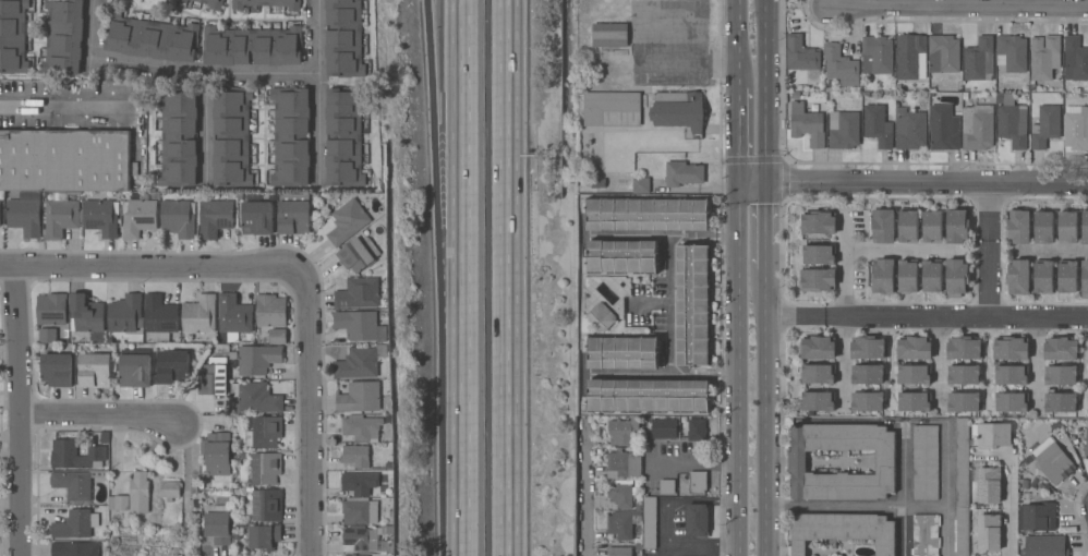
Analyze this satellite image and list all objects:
building: (182, 1)
building: (210, 2)
building: (268, 3)
road: (763, 7)
road: (962, 8)
building: (609, 34)
building: (13, 36)
building: (63, 37)
building: (152, 38)
building: (343, 38)
road: (737, 44)
building: (252, 46)
building: (944, 53)
building: (1012, 53)
building: (877, 55)
building: (802, 57)
building: (911, 57)
building: (1044, 57)
building: (979, 59)
building: (1075, 59)
road: (689, 60)
road: (89, 65)
building: (841, 65)
road: (174, 69)
road: (764, 88)
road: (317, 93)
building: (795, 95)
building: (1000, 98)
road: (58, 108)
building: (612, 109)
building: (677, 110)
building: (807, 124)
building: (1013, 124)
building: (878, 125)
building: (977, 126)
building: (1045, 126)
building: (943, 128)
building: (1076, 128)
road: (205, 129)
building: (910, 129)
building: (844, 130)
road: (738, 132)
building: (231, 136)
building: (291, 136)
building: (178, 137)
building: (343, 137)
road: (439, 157)
road: (458, 157)
building: (64, 160)
building: (684, 173)
road: (912, 178)
building: (591, 184)
building: (641, 185)
road: (986, 209)
building: (25, 214)
building: (293, 214)
building: (648, 214)
building: (61, 217)
building: (137, 217)
building: (179, 217)
building: (215, 217)
building: (100, 218)
building: (257, 218)
building: (348, 221)
building: (819, 222)
road: (764, 223)
building: (1018, 225)
building: (883, 226)
building: (907, 226)
building: (957, 226)
building: (1043, 226)
building: (1085, 226)
building: (932, 227)
building: (1067, 227)
road: (725, 239)
road: (903, 250)
road: (1050, 252)
building: (358, 254)
building: (819, 254)
building: (621, 256)
road: (156, 267)
building: (931, 275)
building: (882, 276)
building: (907, 276)
building: (1018, 276)
building: (1043, 276)
building: (1067, 276)
road: (508, 278)
building: (957, 278)
road: (984, 278)
building: (1085, 278)
building: (817, 279)
building: (358, 293)
building: (693, 304)
road: (670, 305)
building: (51, 309)
building: (270, 310)
road: (843, 312)
building: (86, 313)
building: (124, 313)
building: (200, 314)
building: (233, 314)
building: (601, 316)
building: (159, 317)
road: (955, 317)
road: (794, 318)
building: (359, 325)
building: (48, 335)
building: (277, 336)
building: (818, 347)
building: (869, 347)
building: (914, 348)
building: (964, 348)
building: (1010, 348)
building: (1061, 348)
building: (622, 352)
building: (257, 359)
building: (360, 362)
road: (1036, 364)
road: (738, 365)
road: (939, 365)
building: (172, 366)
building: (135, 367)
building: (57, 368)
building: (96, 370)
road: (725, 374)
building: (818, 374)
building: (868, 374)
building: (914, 374)
building: (963, 374)
building: (1011, 374)
building: (1061, 374)
building: (213, 376)
building: (648, 396)
building: (256, 397)
building: (359, 397)
building: (818, 400)
building: (867, 401)
building: (914, 401)
building: (964, 401)
building: (1012, 401)
building: (1061, 402)
road: (21, 411)
road: (312, 412)
road: (765, 413)
road: (100, 415)
building: (362, 427)
building: (662, 427)
building: (621, 430)
building: (696, 430)
building: (264, 432)
road: (458, 435)
building: (991, 435)
building: (1086, 445)
building: (663, 447)
building: (216, 454)
building: (75, 455)
building: (355, 456)
building: (1055, 458)
building: (884, 461)
road: (703, 462)
building: (924, 462)
building: (622, 463)
building: (266, 468)
building: (697, 482)
building: (73, 484)
building: (359, 484)
building: (989, 485)
building: (962, 486)
building: (169, 489)
road: (588, 489)
road: (902, 492)
building: (138, 493)
building: (619, 493)
building: (119, 503)
road: (667, 504)
building: (267, 505)
road: (856, 507)
building: (360, 511)
road: (1007, 511)
building: (1035, 511)
building: (698, 519)
building: (649, 521)
building: (622, 523)
building: (75, 524)
building: (217, 524)
building: (842, 530)
building: (989, 532)
building: (924, 534)
building: (264, 535)
building: (360, 539)
building: (1042, 545)
road: (703, 547)
building: (74, 548)
building: (619, 552)
building: (662, 552)
building: (346, 555)
building: (358, 555)

